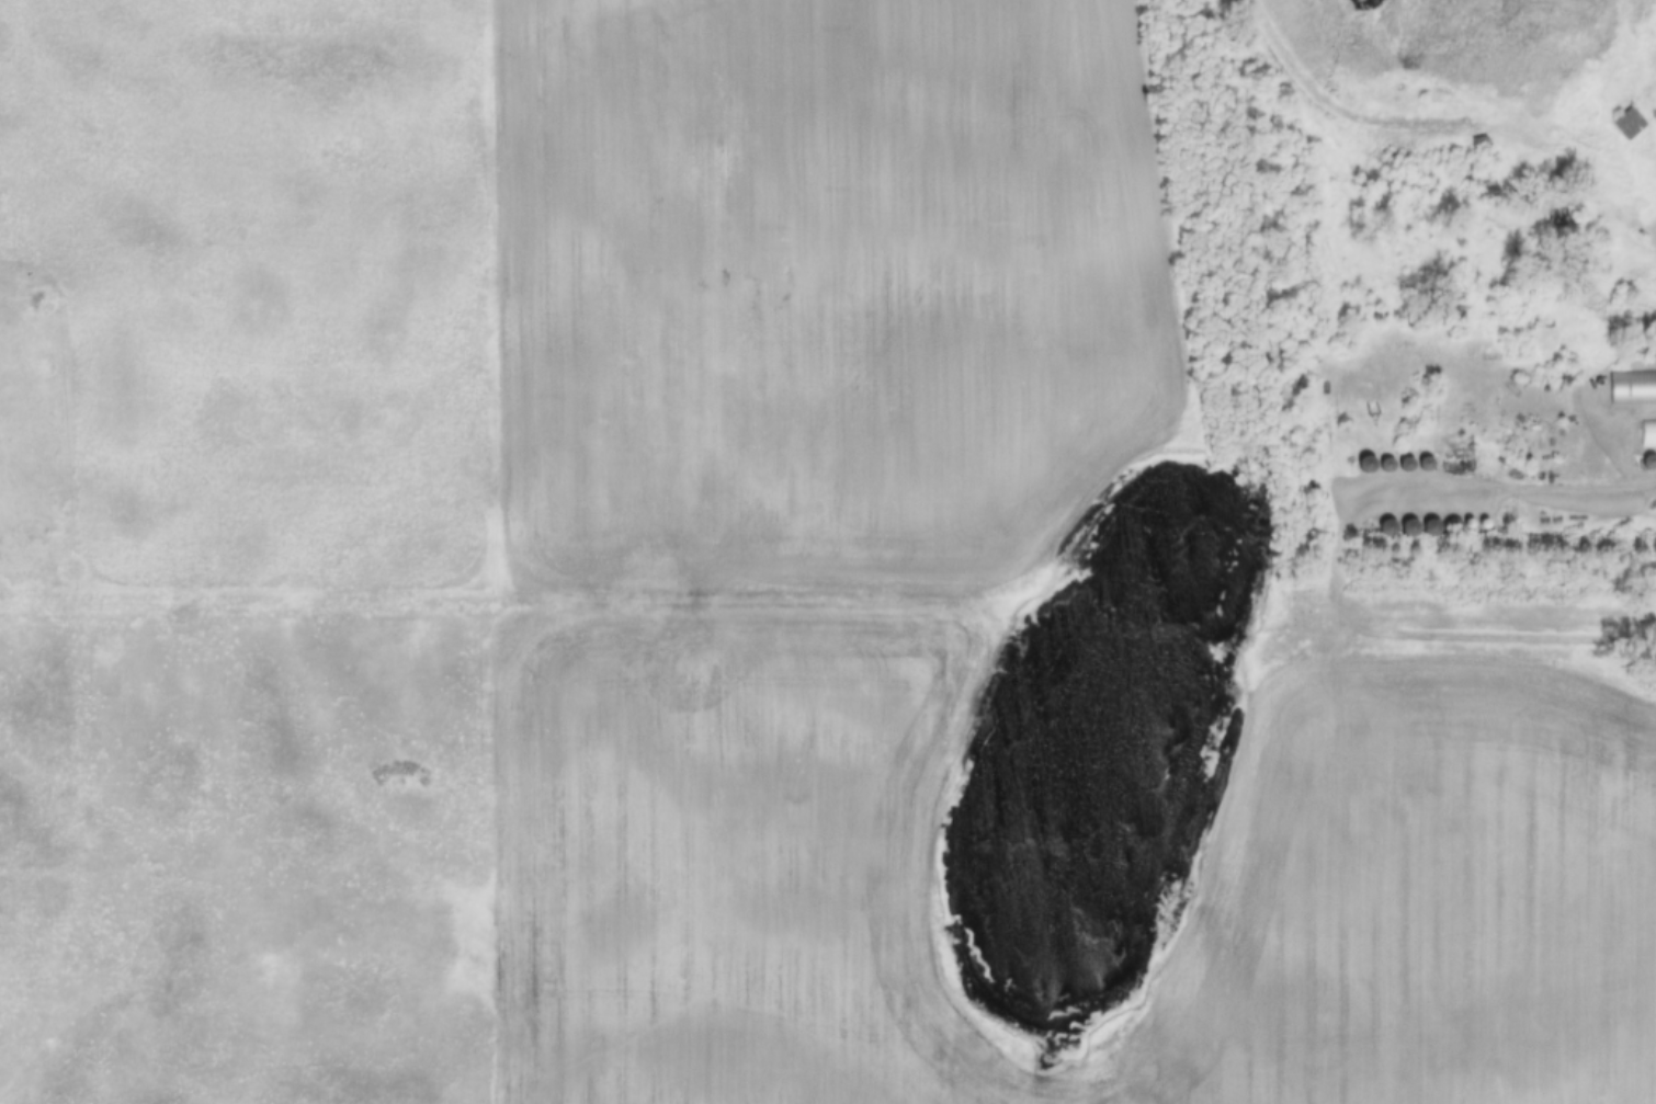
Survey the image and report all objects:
building: (1627, 123)
road: (1564, 132)
building: (1652, 351)
building: (1631, 387)
building: (1647, 433)
building: (1647, 462)
road: (1336, 576)

